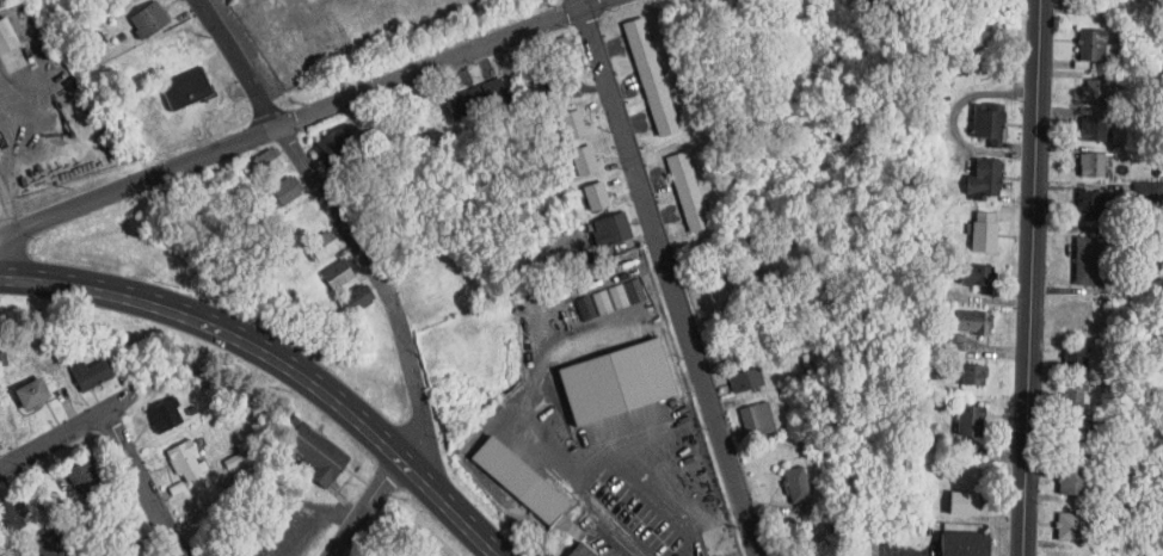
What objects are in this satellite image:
building: (150, 21)
building: (7, 38)
building: (638, 42)
building: (1090, 47)
building: (172, 52)
building: (552, 54)
building: (650, 80)
building: (555, 88)
building: (187, 91)
building: (1096, 94)
building: (474, 101)
building: (663, 117)
road: (303, 119)
building: (987, 124)
building: (572, 126)
building: (1093, 130)
building: (331, 149)
building: (583, 161)
building: (264, 163)
building: (678, 166)
building: (1090, 167)
building: (987, 179)
building: (684, 186)
building: (284, 193)
building: (595, 198)
building: (690, 204)
road: (13, 205)
building: (1090, 209)
building: (695, 222)
road: (345, 223)
building: (610, 231)
building: (983, 239)
building: (319, 247)
building: (1085, 264)
building: (339, 274)
road: (669, 277)
road: (1029, 278)
building: (976, 279)
building: (622, 294)
building: (355, 301)
building: (1075, 315)
building: (970, 325)
road: (279, 358)
building: (1073, 358)
building: (92, 376)
building: (972, 377)
building: (744, 382)
building: (614, 383)
building: (31, 394)
building: (1072, 397)
building: (165, 416)
building: (967, 421)
building: (756, 422)
road: (524, 426)
building: (1073, 433)
road: (51, 439)
building: (0, 443)
building: (315, 452)
building: (184, 459)
building: (87, 482)
building: (518, 482)
building: (1071, 482)
road: (142, 483)
building: (796, 487)
building: (961, 505)
road: (367, 506)
building: (18, 511)
building: (1069, 529)
building: (962, 545)
building: (580, 551)

